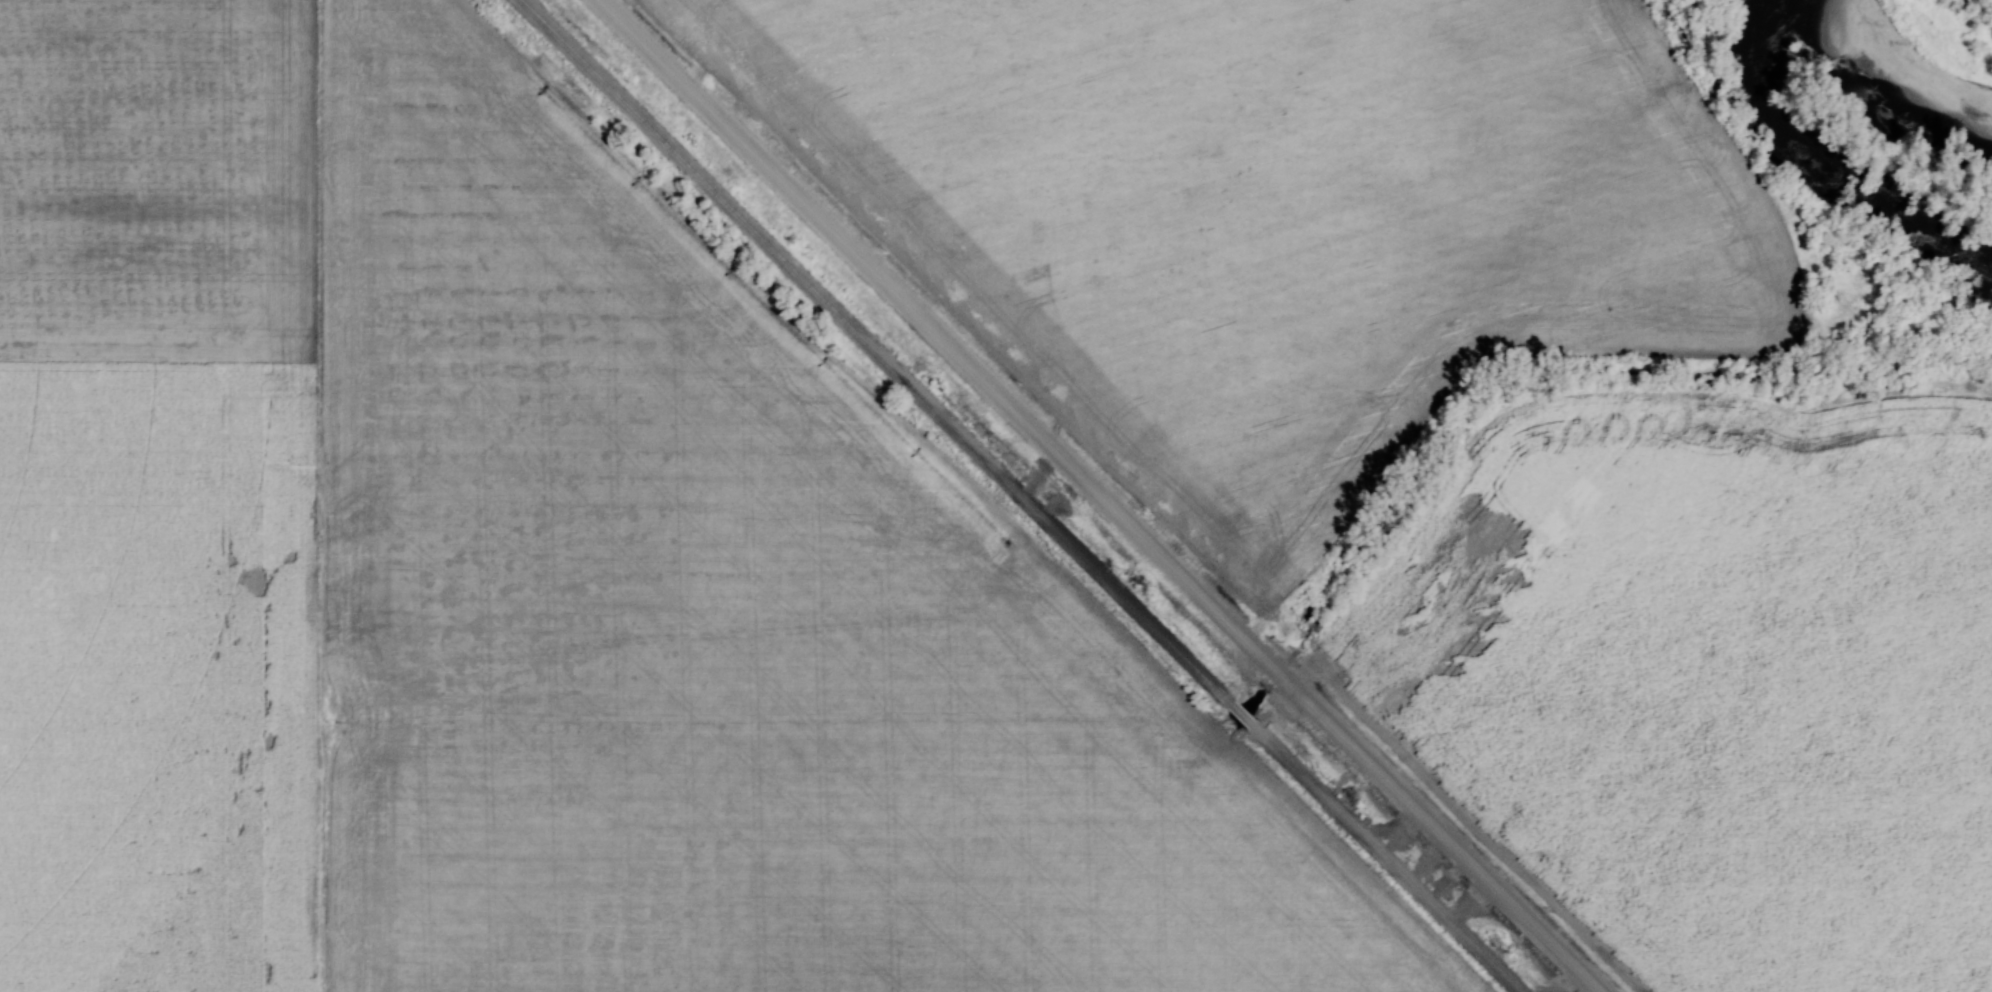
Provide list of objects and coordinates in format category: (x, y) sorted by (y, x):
river: (1911, 75)
road: (1096, 494)
railway: (1024, 496)

